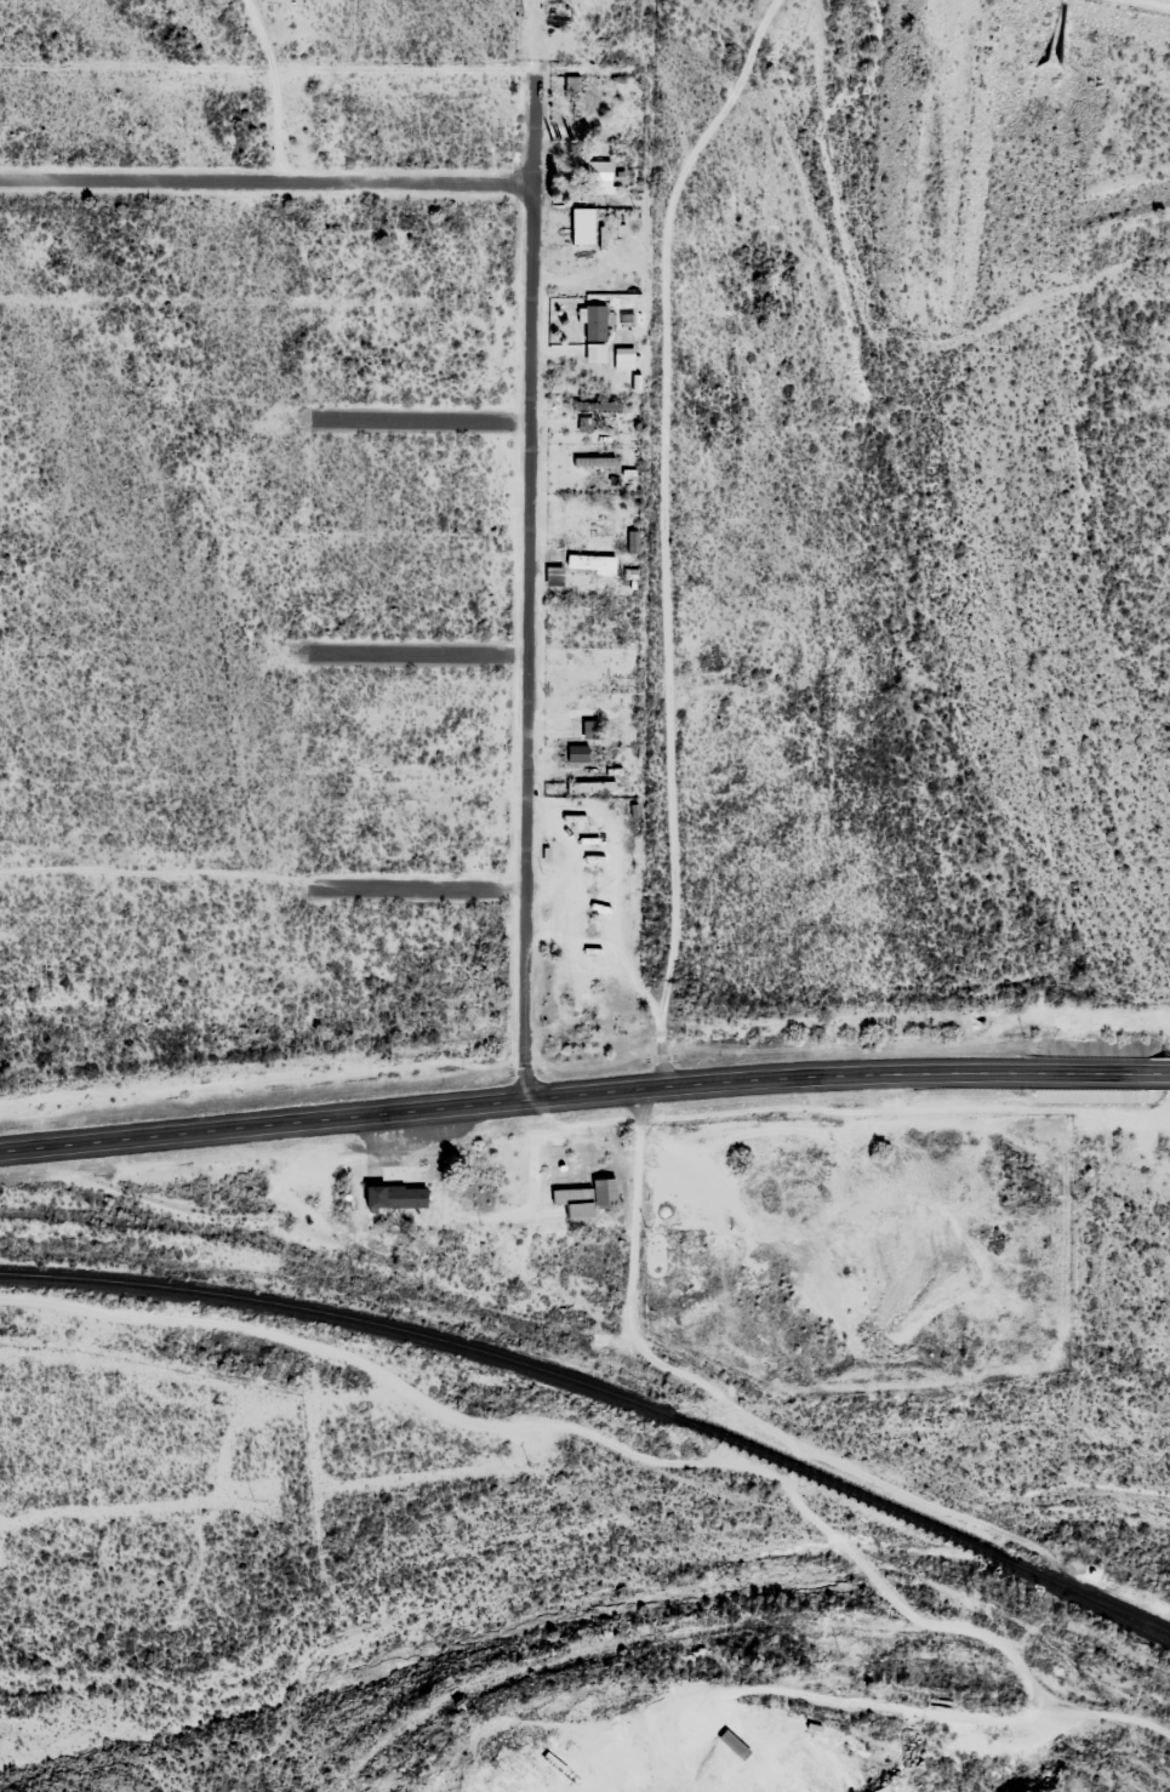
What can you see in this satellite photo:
building: (597, 176)
road: (263, 179)
building: (581, 226)
building: (593, 323)
building: (622, 361)
road: (413, 421)
building: (588, 563)
building: (552, 576)
road: (527, 580)
road: (415, 669)
building: (589, 718)
building: (576, 753)
road: (416, 874)
road: (679, 1041)
road: (760, 1078)
road: (176, 1132)
building: (392, 1197)
building: (584, 1198)
building: (691, 1238)
railway: (338, 1316)
railway: (839, 1489)
railway: (1091, 1599)
railway: (1118, 1615)

